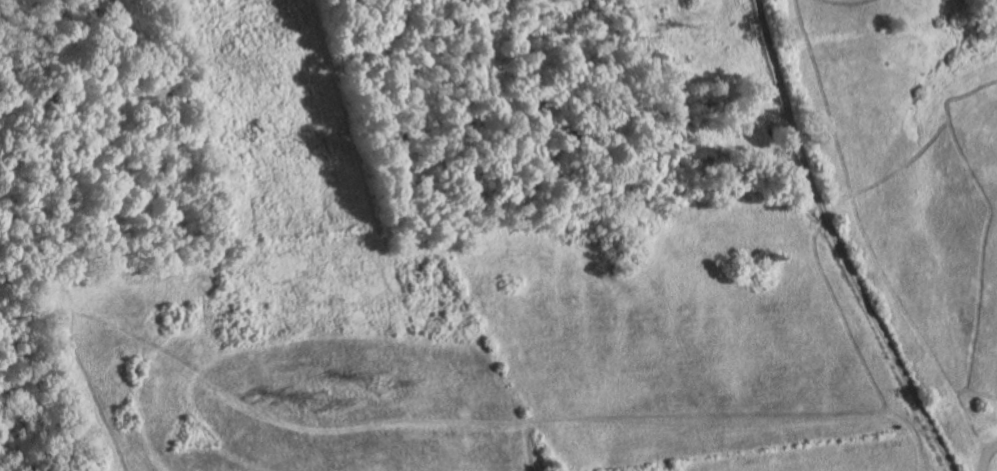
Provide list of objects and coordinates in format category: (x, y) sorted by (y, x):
road: (836, 242)
power tower: (380, 385)
power tower: (318, 403)

